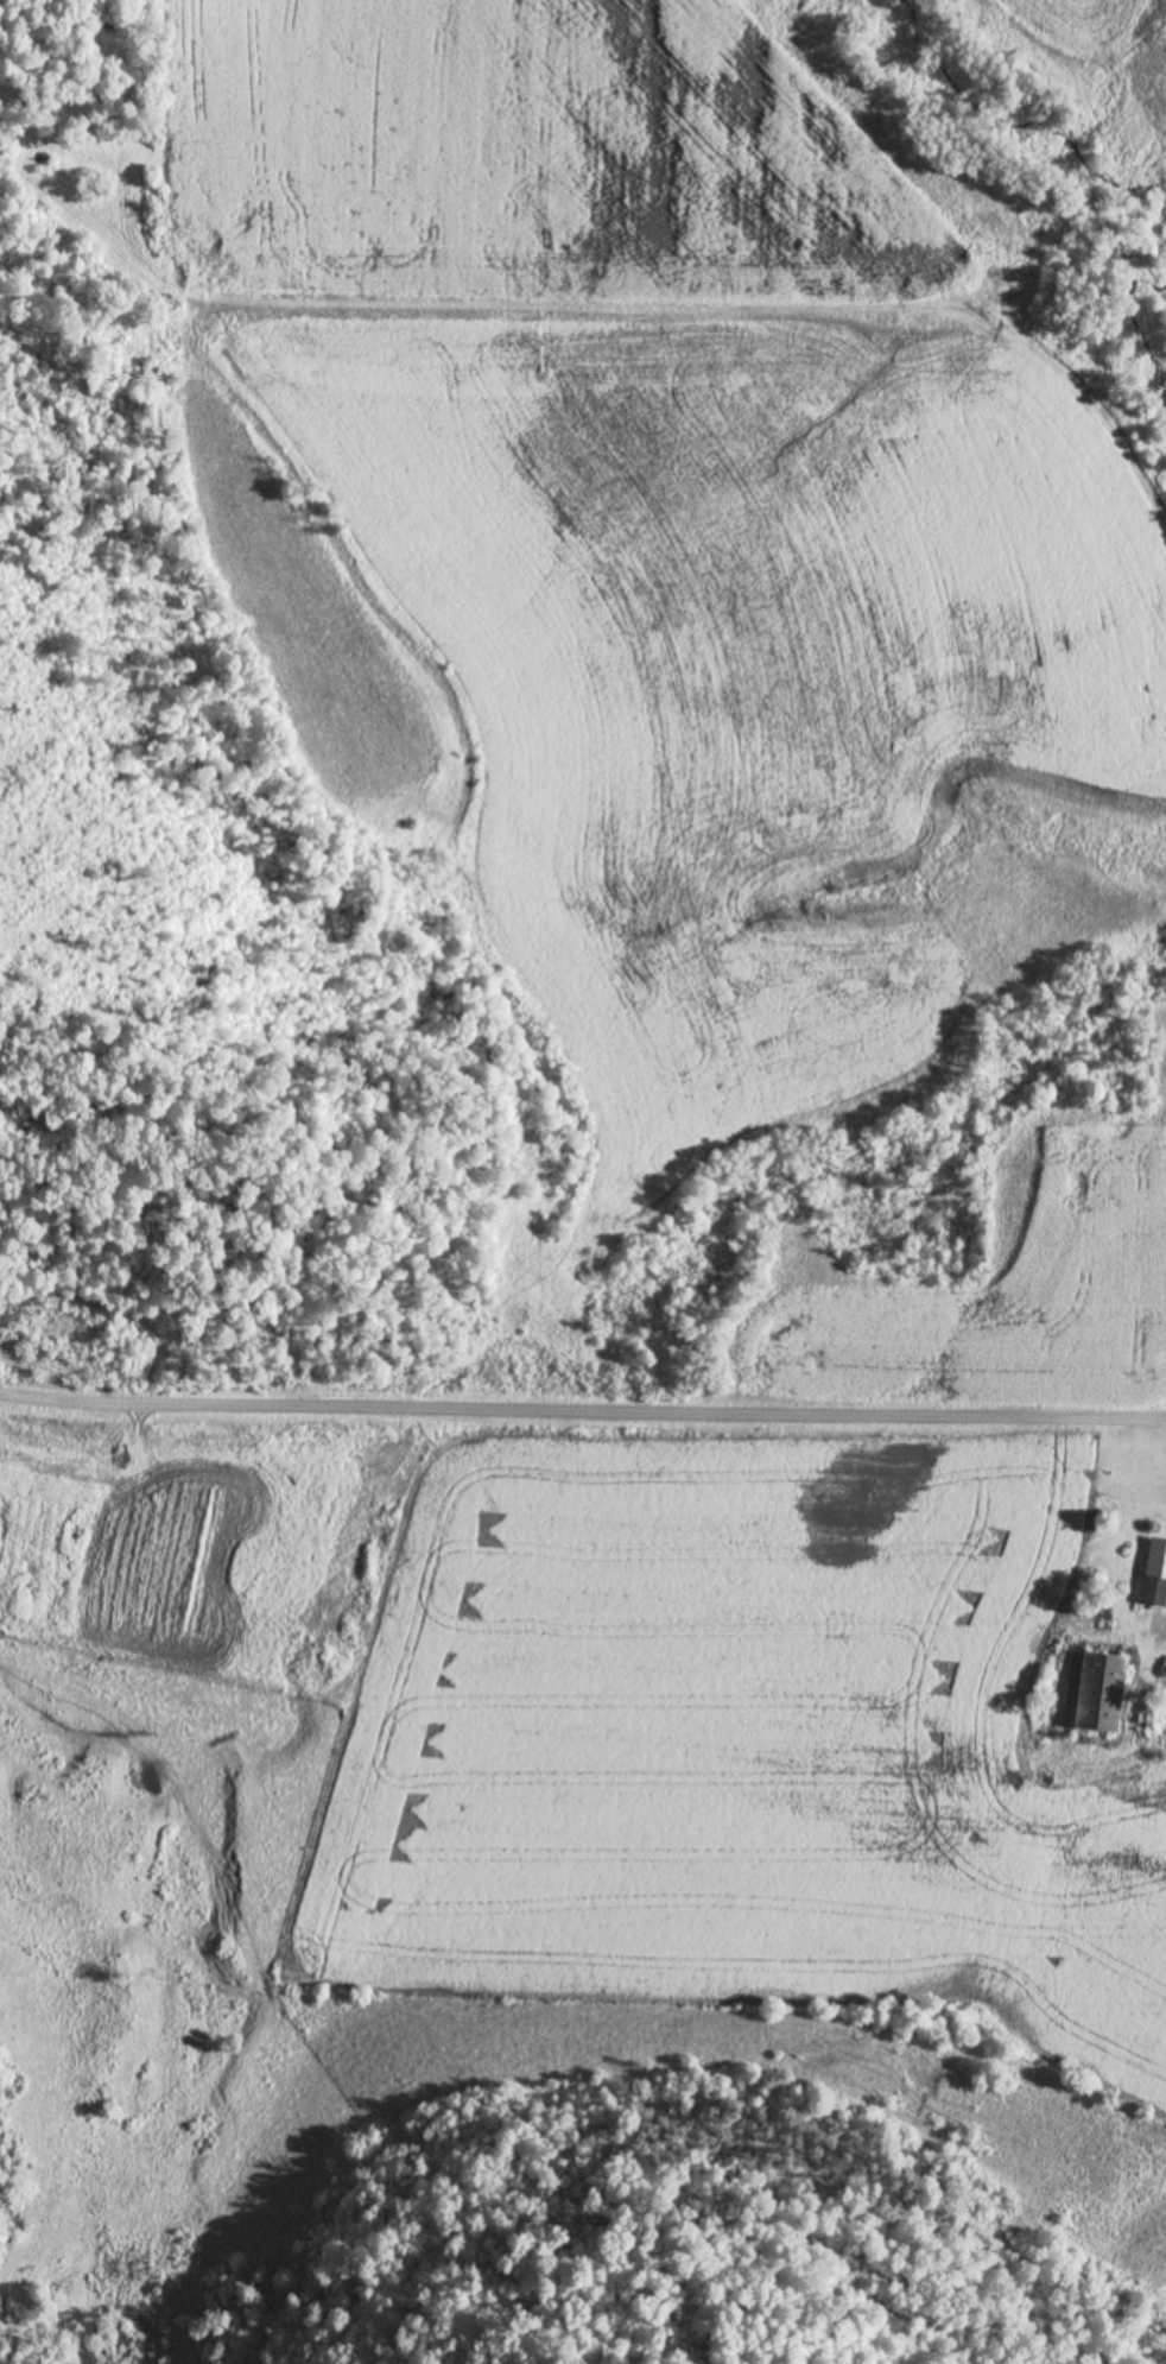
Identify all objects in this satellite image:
road: (582, 1411)
building: (1152, 1574)
building: (1094, 1693)
building: (1158, 1726)

